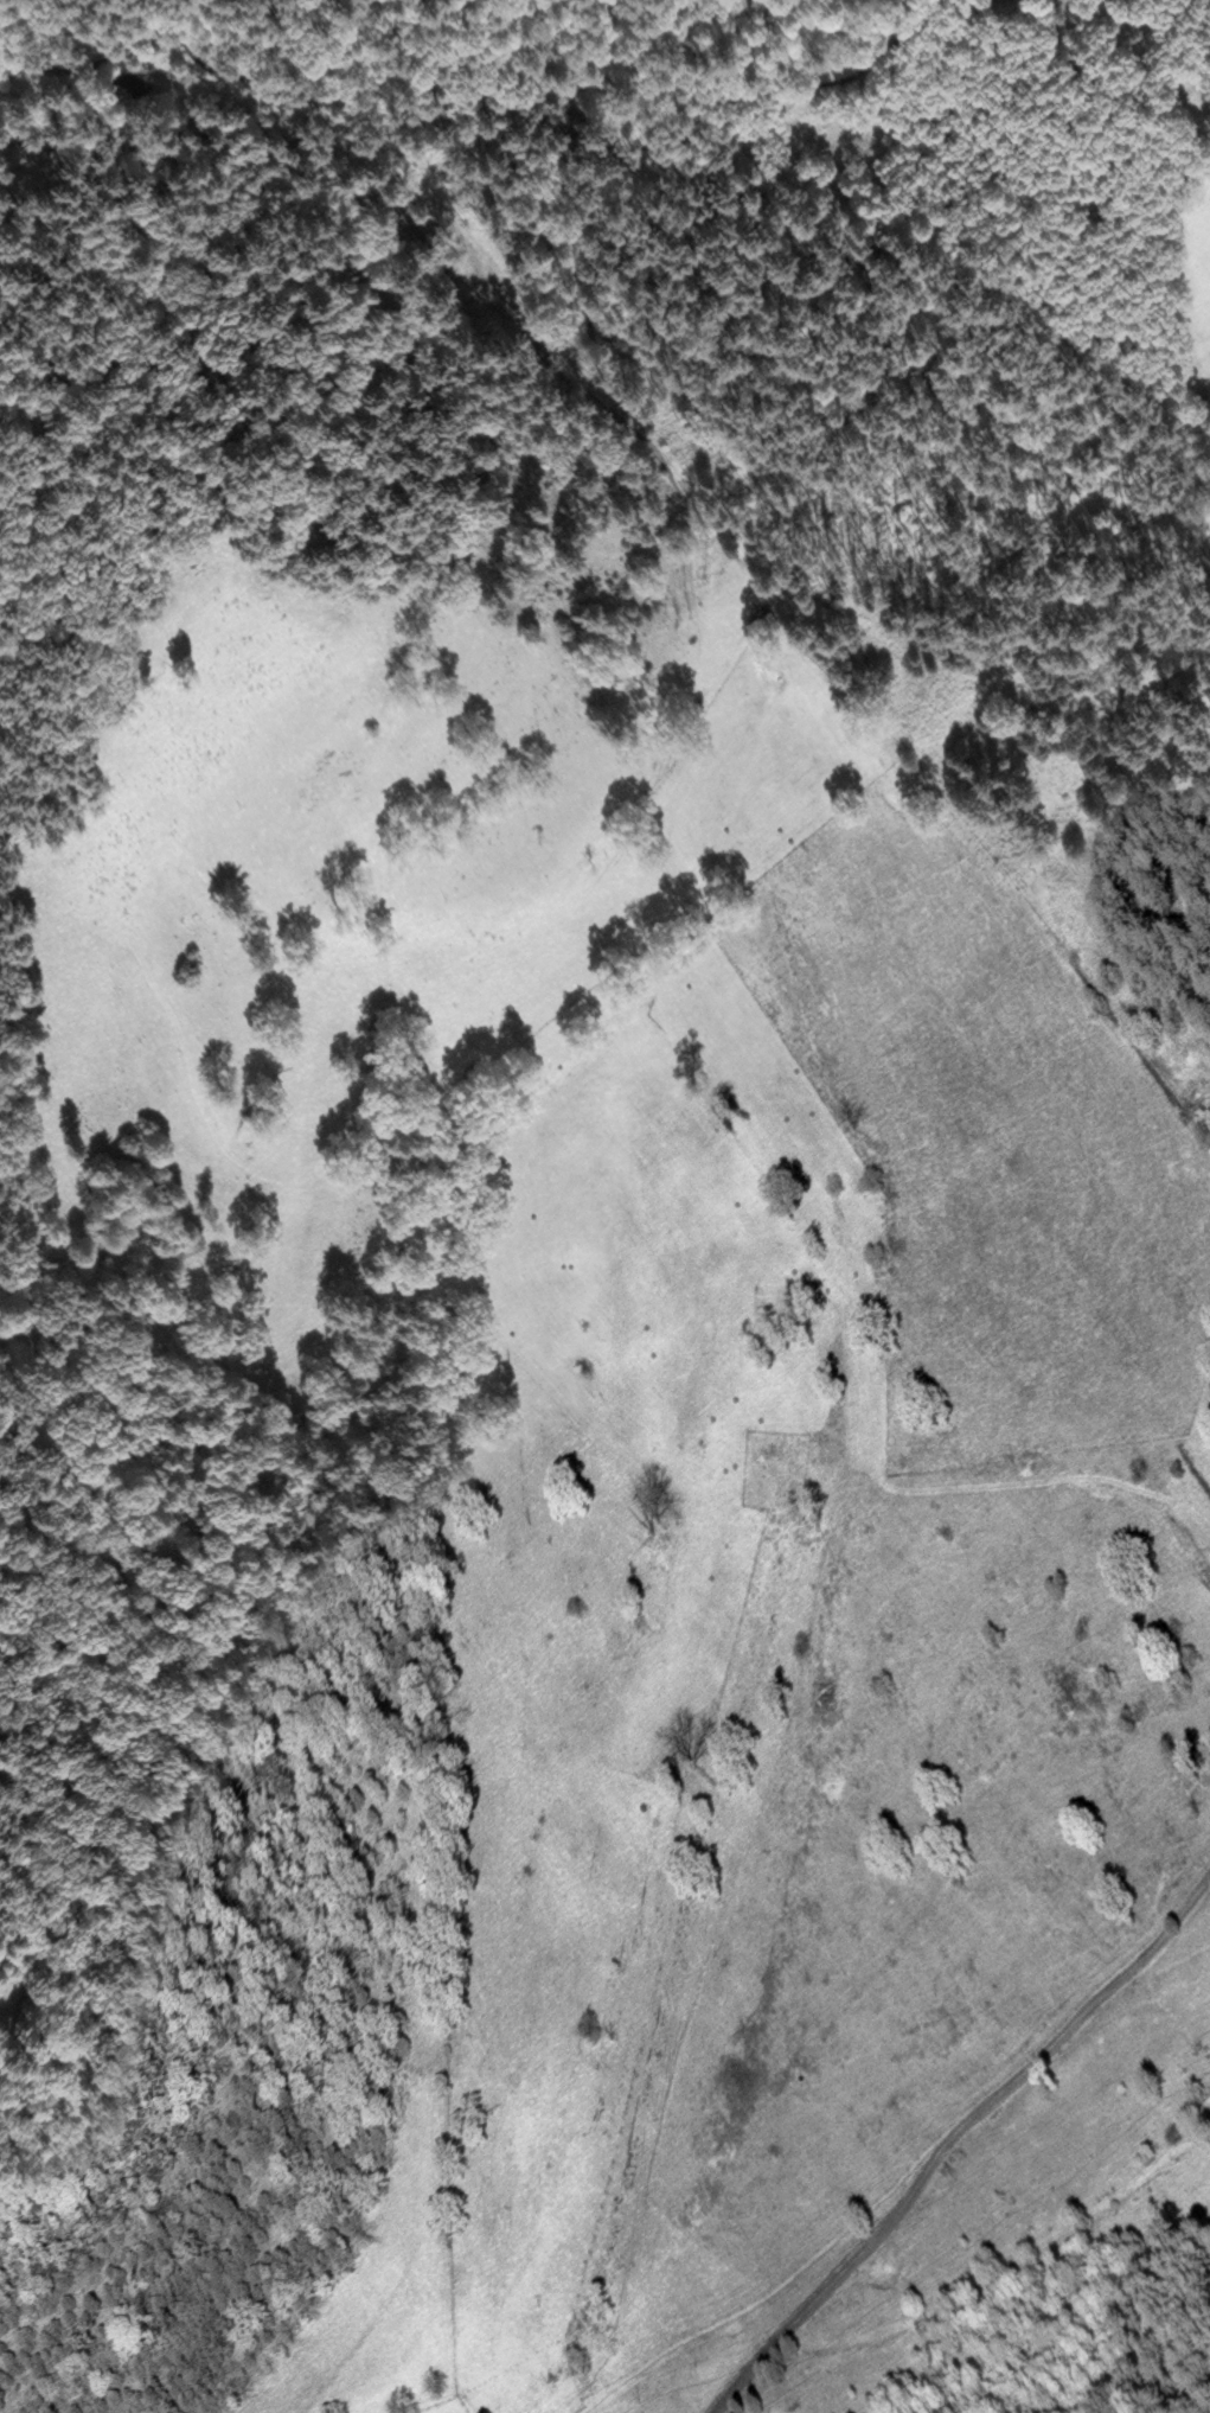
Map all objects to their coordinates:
road: (952, 2133)

